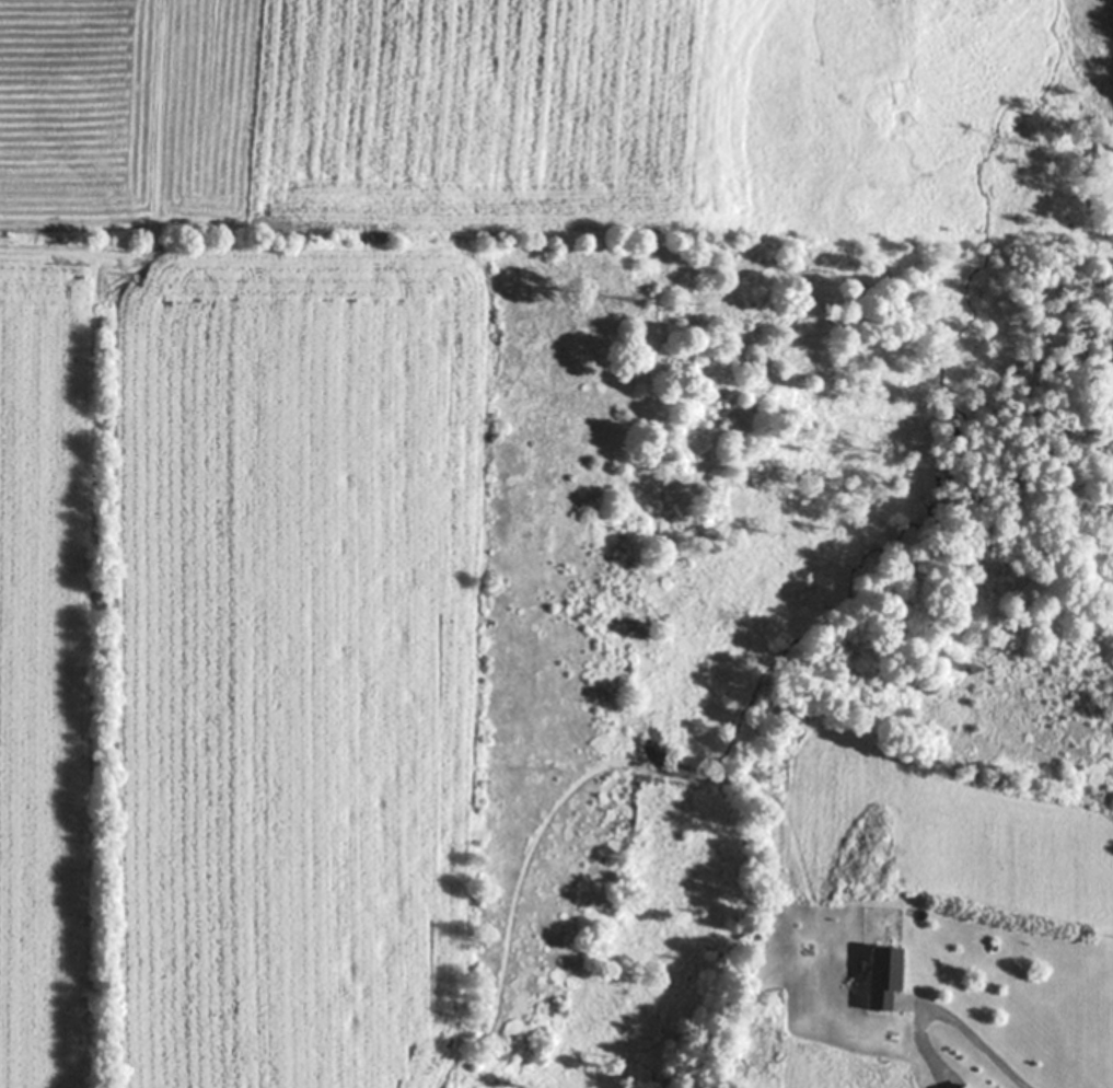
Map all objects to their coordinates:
building: (878, 979)

